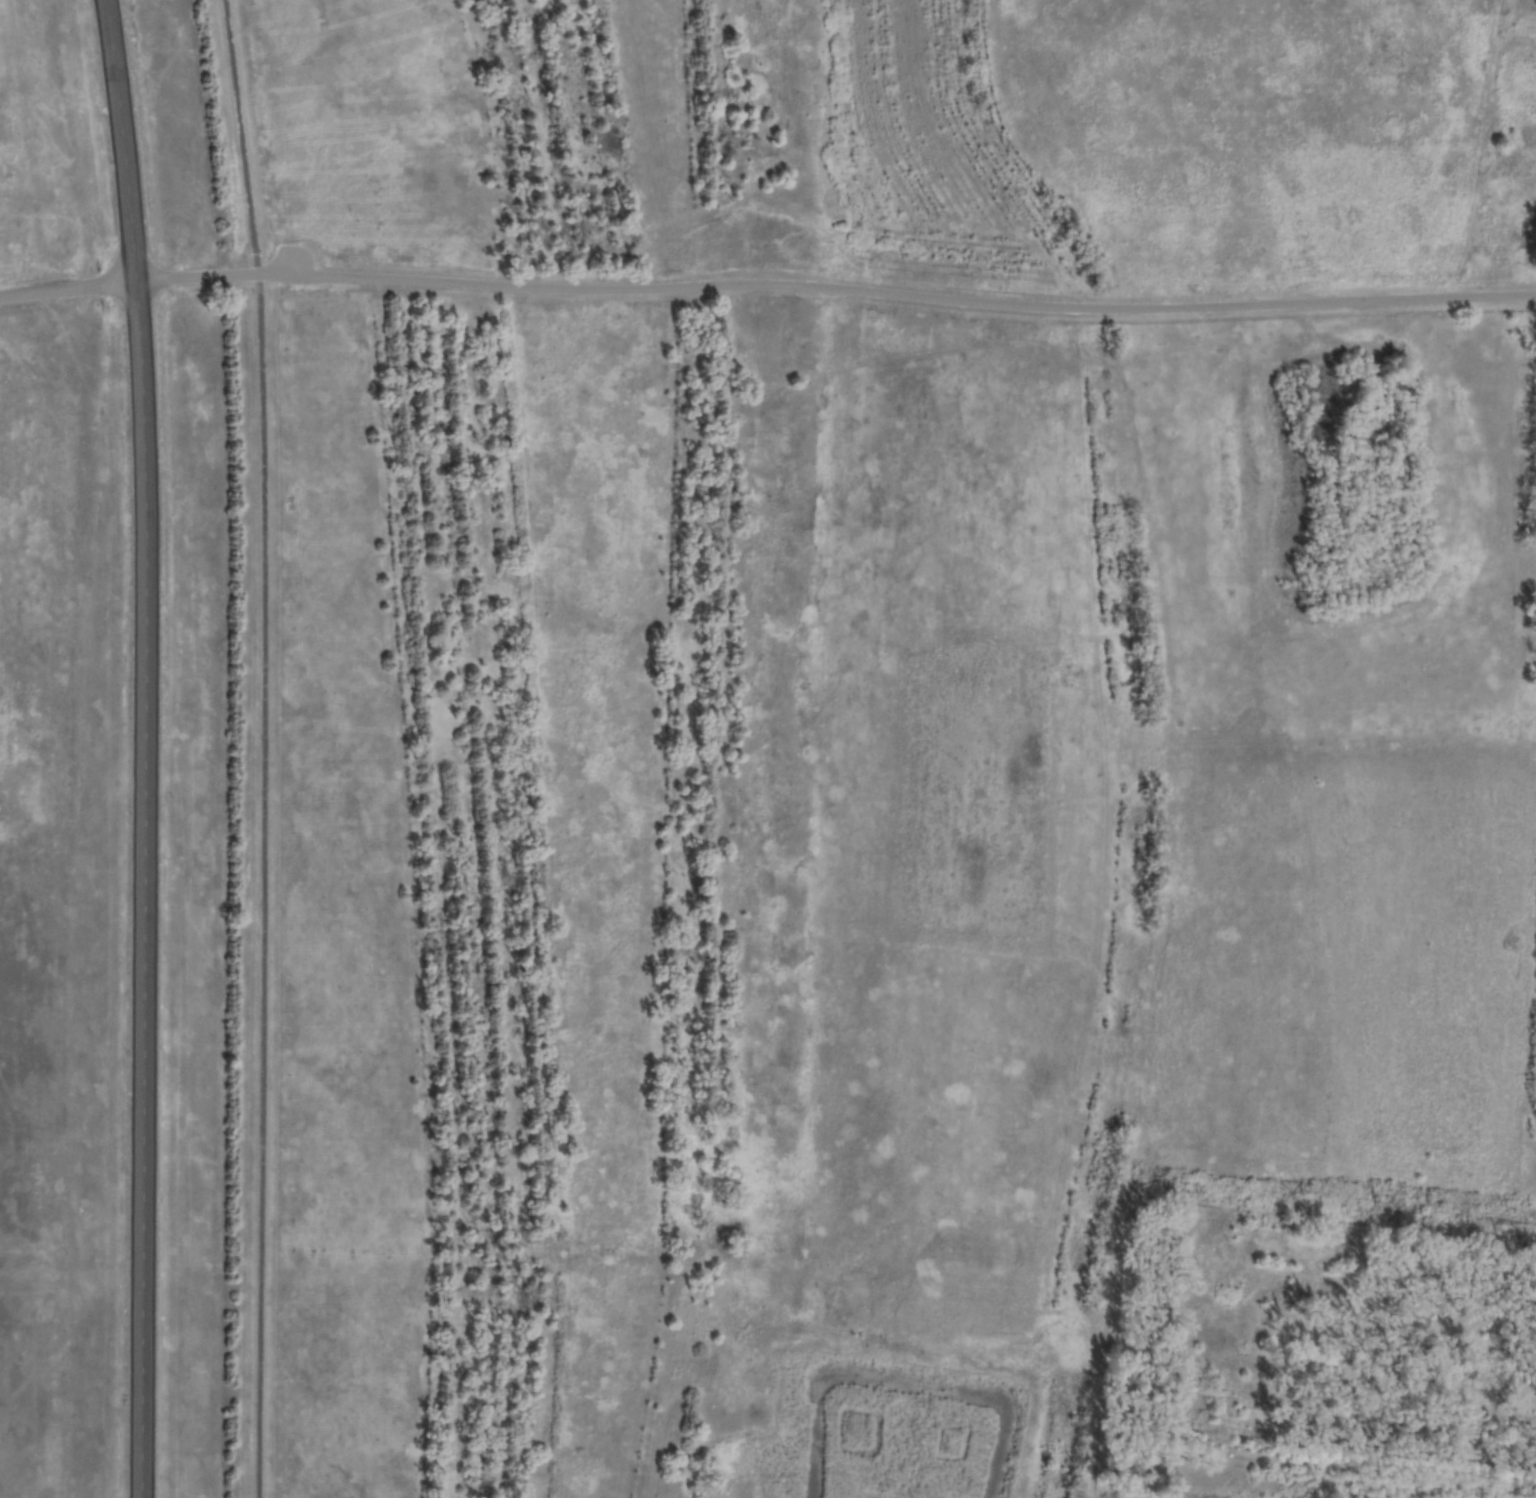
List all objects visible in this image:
road: (767, 281)
road: (132, 748)
road: (258, 748)

